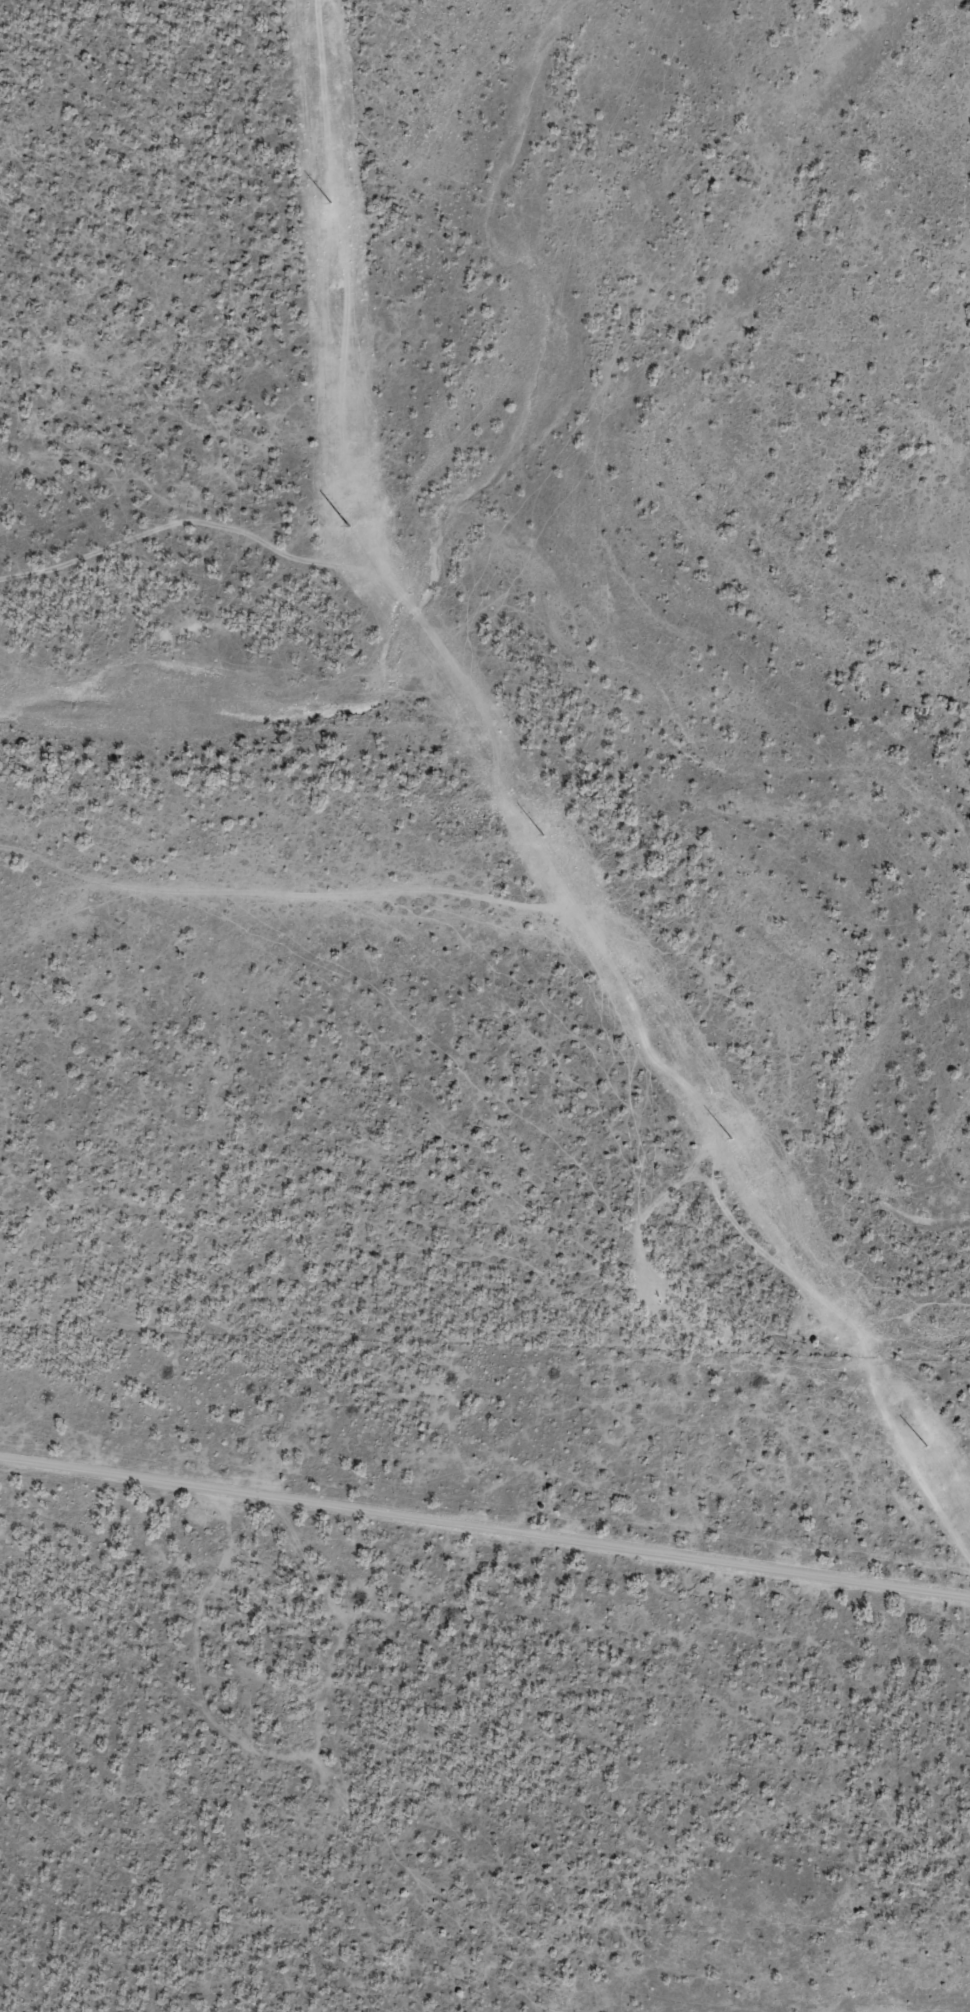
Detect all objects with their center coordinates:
power tower: (336, 289)
power tower: (351, 531)
power tower: (483, 740)
power tower: (626, 972)
power tower: (762, 1187)
power tower: (896, 1402)
road: (485, 1529)

